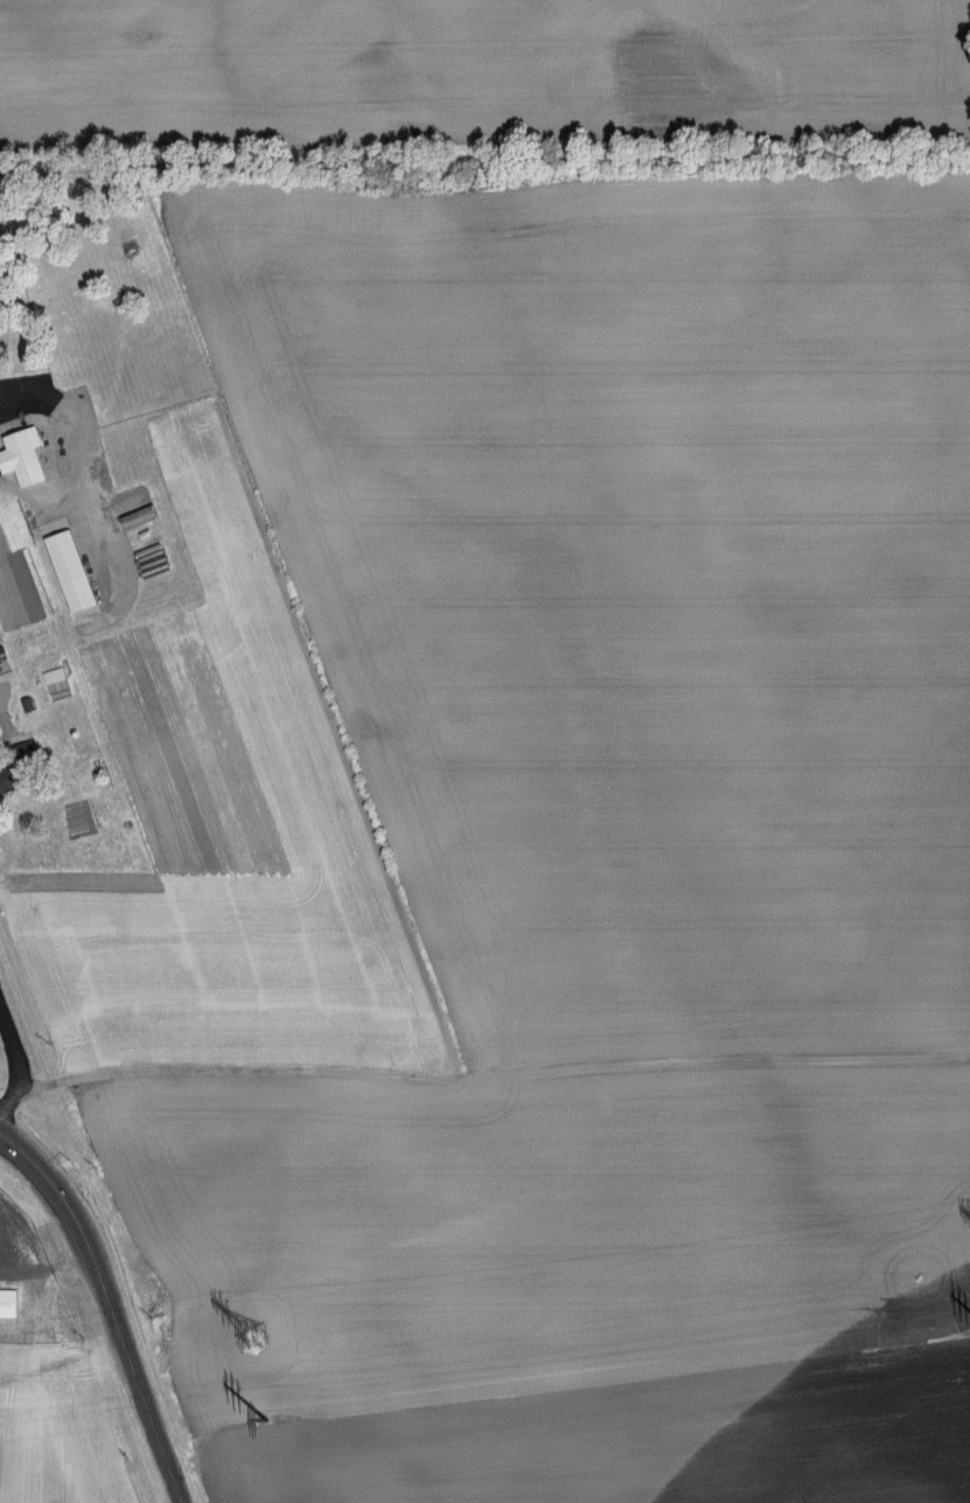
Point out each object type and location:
road: (484, 166)
building: (29, 456)
road: (81, 495)
building: (76, 572)
building: (2, 665)
road: (6, 729)
building: (12, 784)
road: (9, 1037)
road: (231, 1068)
road: (15, 1091)
road: (50, 1186)
parking lot: (19, 1244)
road: (45, 1270)
building: (10, 1301)
power tower: (255, 1334)
road: (134, 1375)
power tower: (262, 1414)

